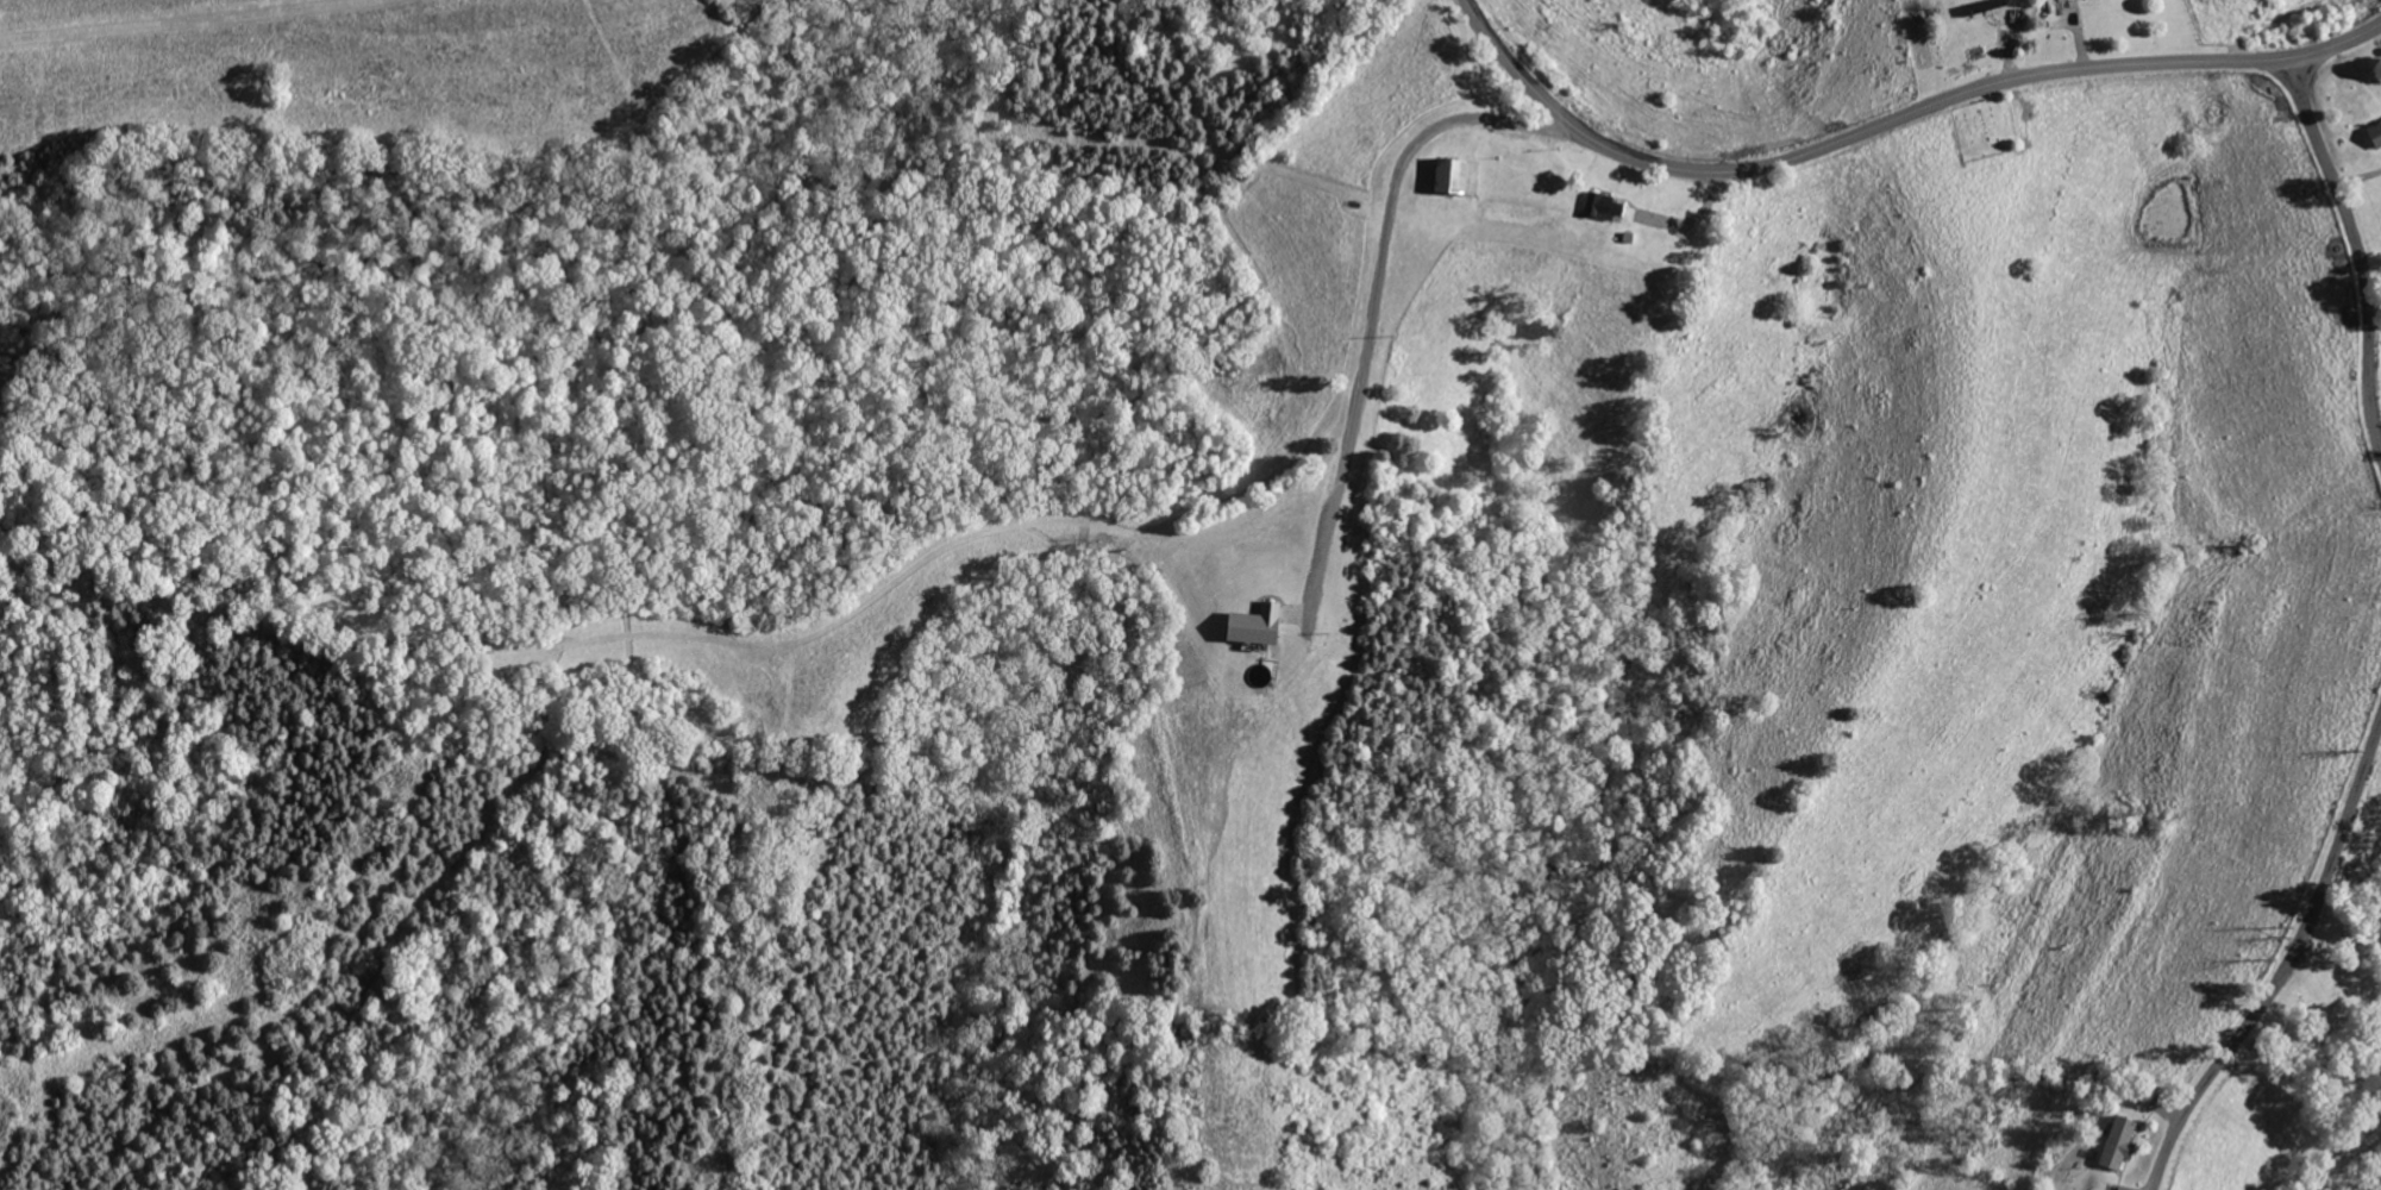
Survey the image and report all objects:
building: (2063, 8)
road: (1892, 121)
park: (1986, 129)
building: (1458, 176)
road: (2356, 250)
road: (1377, 288)
building: (1258, 625)
road: (2285, 963)
building: (2119, 1144)

